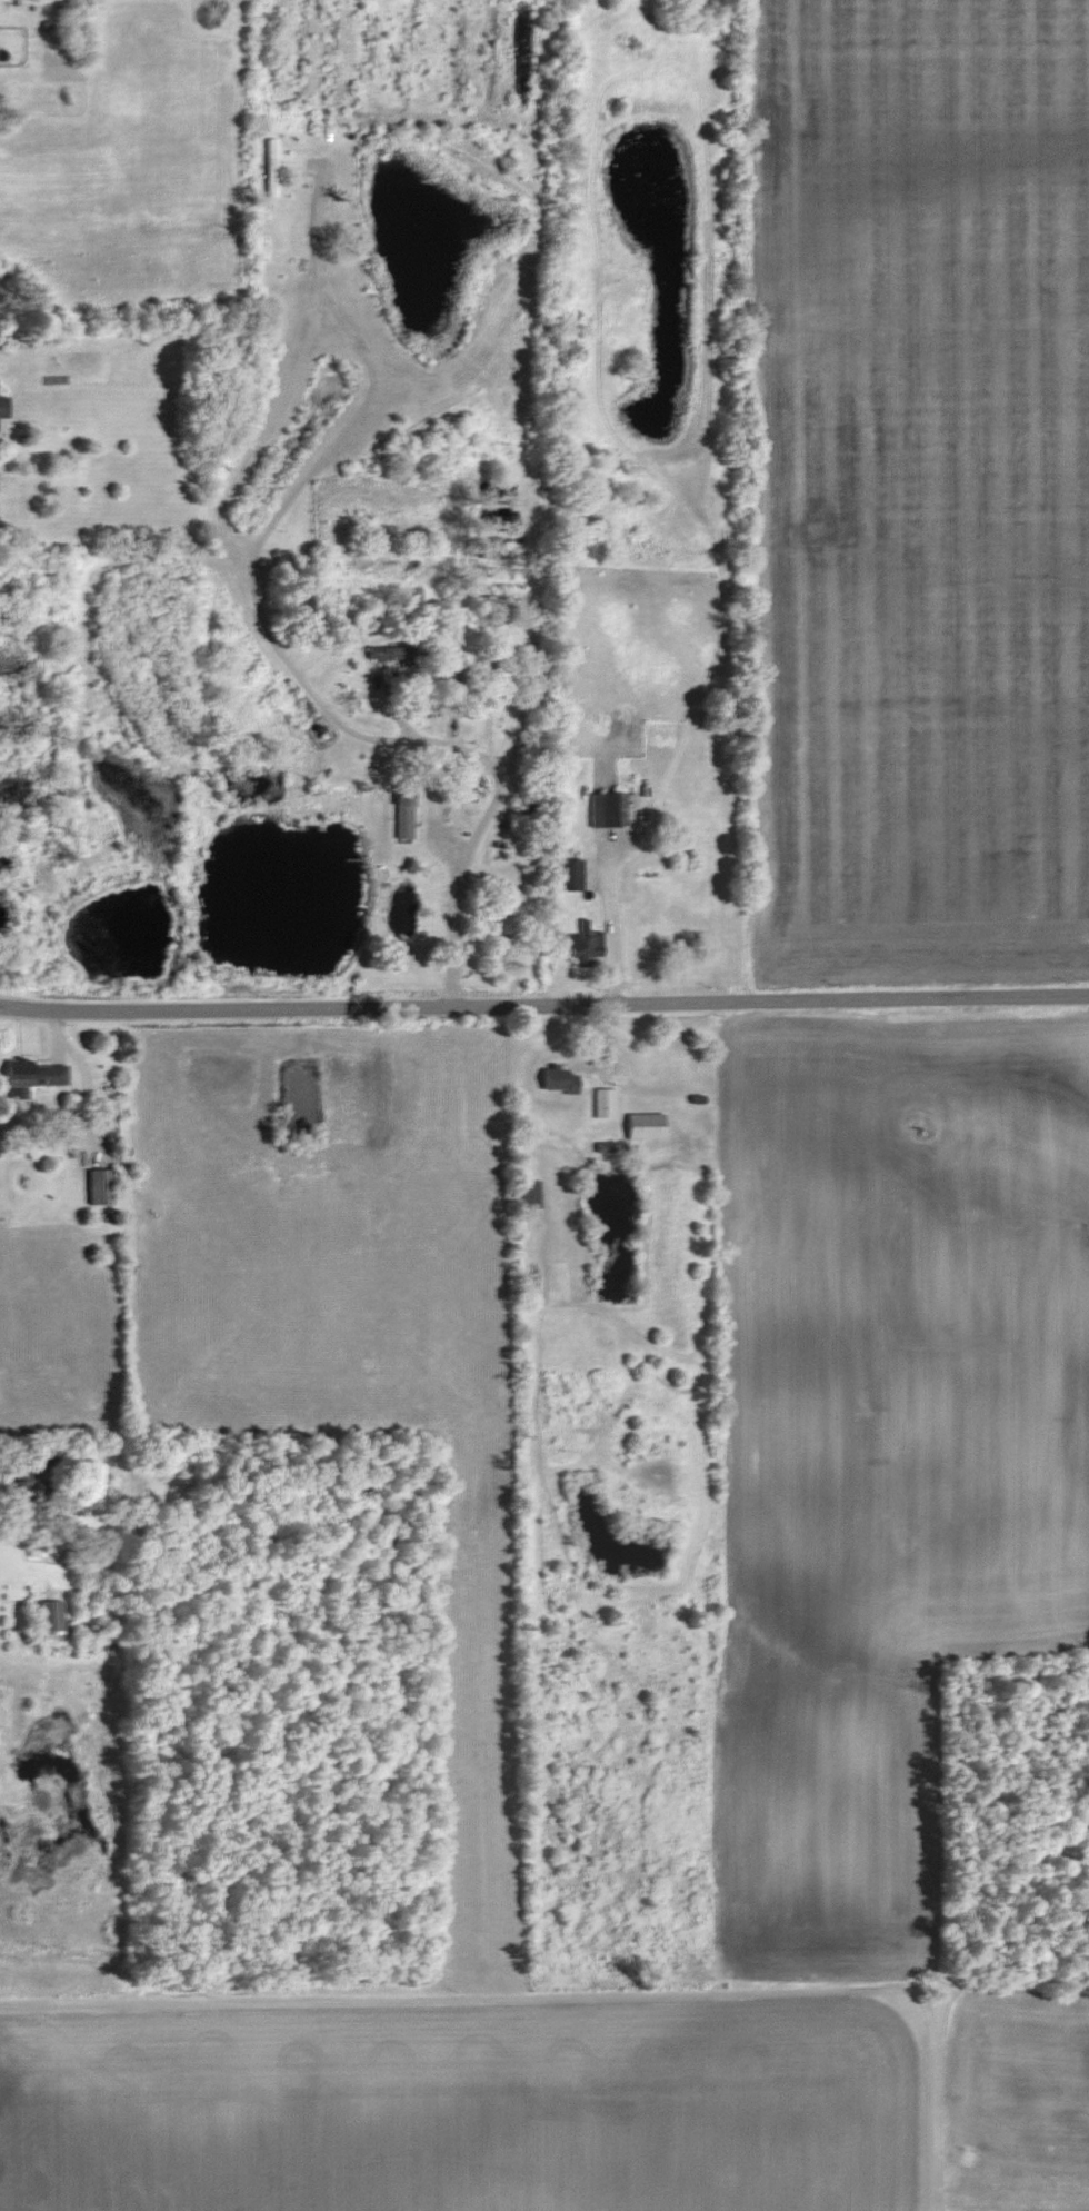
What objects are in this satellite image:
building: (268, 167)
road: (369, 390)
building: (6, 407)
building: (408, 651)
building: (496, 670)
building: (459, 689)
road: (314, 695)
building: (603, 808)
building: (401, 816)
building: (566, 874)
road: (612, 923)
building: (581, 946)
road: (543, 1006)
building: (28, 1076)
building: (555, 1079)
building: (601, 1102)
building: (641, 1126)
building: (96, 1186)
building: (527, 1193)
building: (23, 1490)
building: (48, 1621)
road: (572, 1995)

